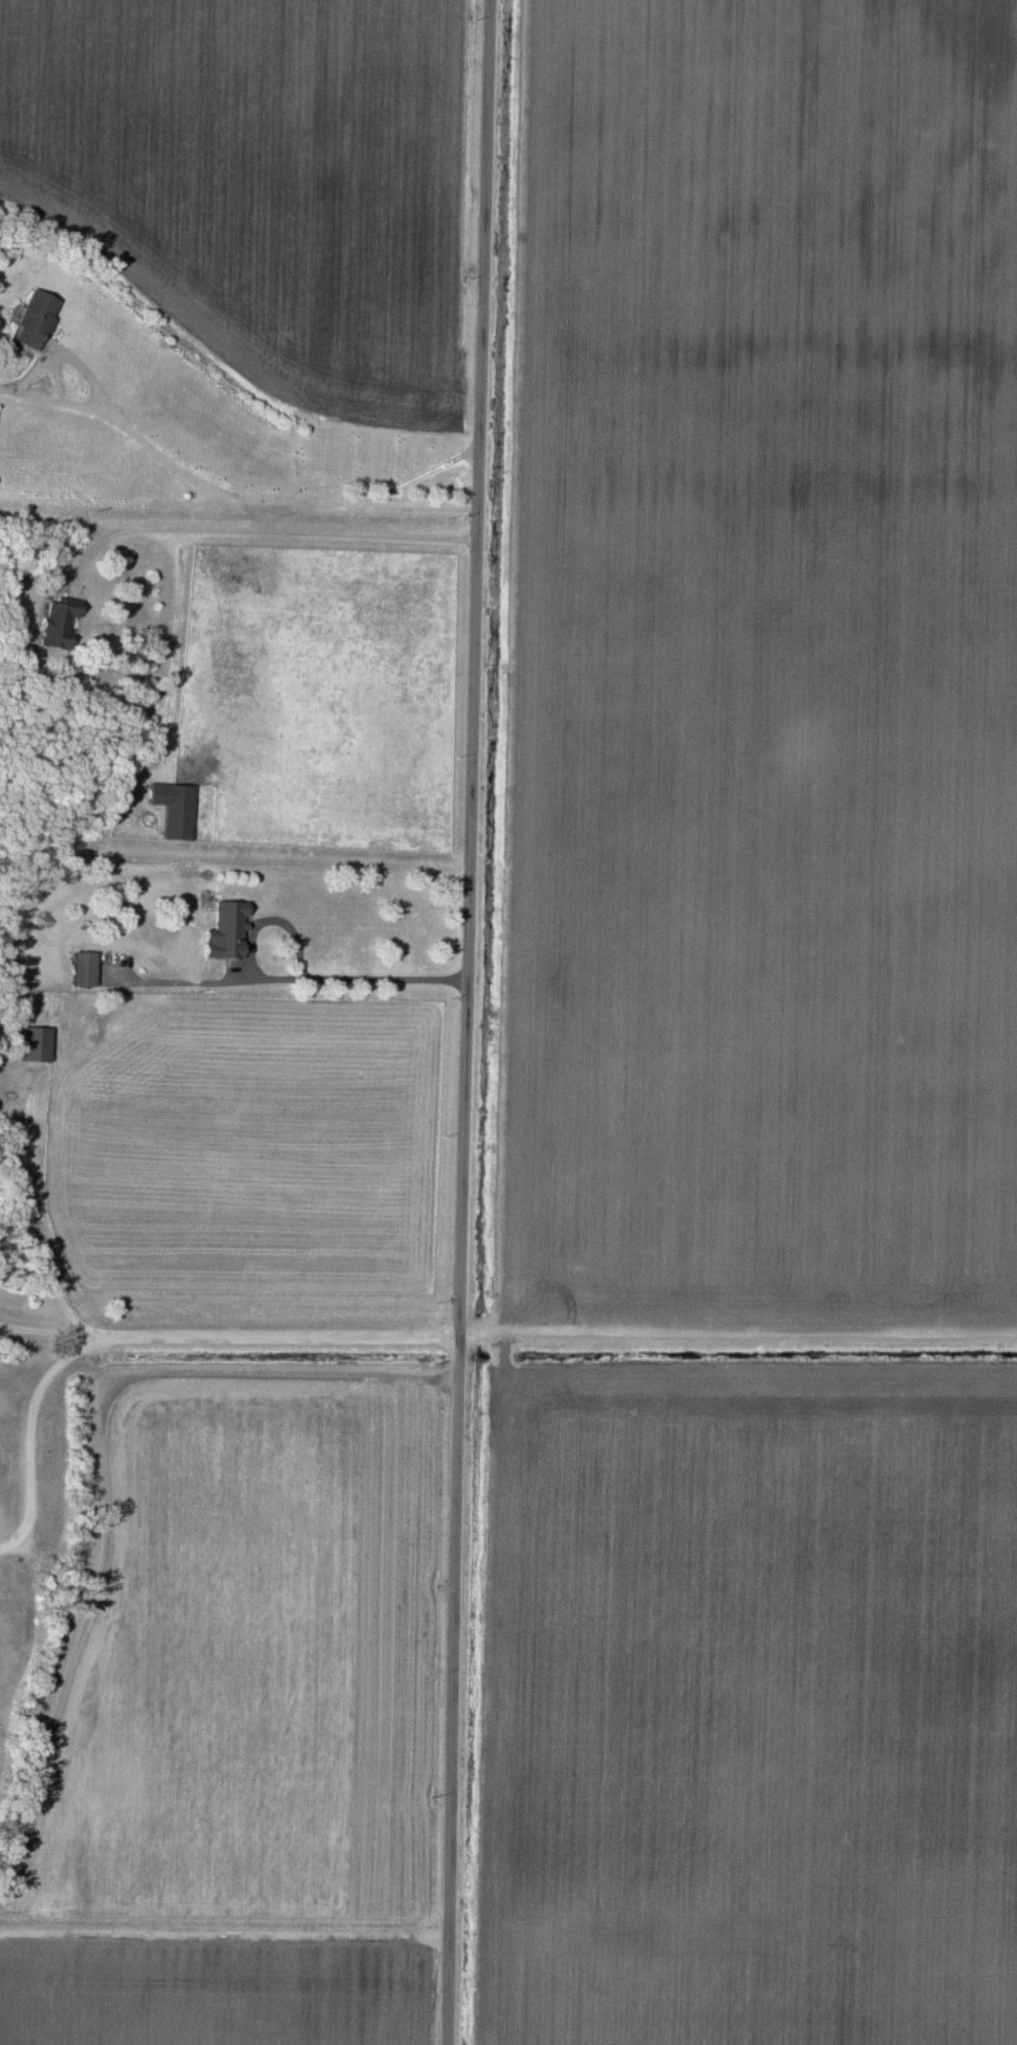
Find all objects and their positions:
building: (34, 321)
road: (173, 459)
road: (426, 469)
road: (262, 529)
building: (57, 624)
building: (174, 811)
building: (224, 933)
building: (84, 971)
road: (290, 978)
road: (186, 983)
road: (465, 1022)
building: (36, 1046)
road: (45, 1333)
road: (145, 1339)
road: (30, 1440)
road: (225, 1673)

